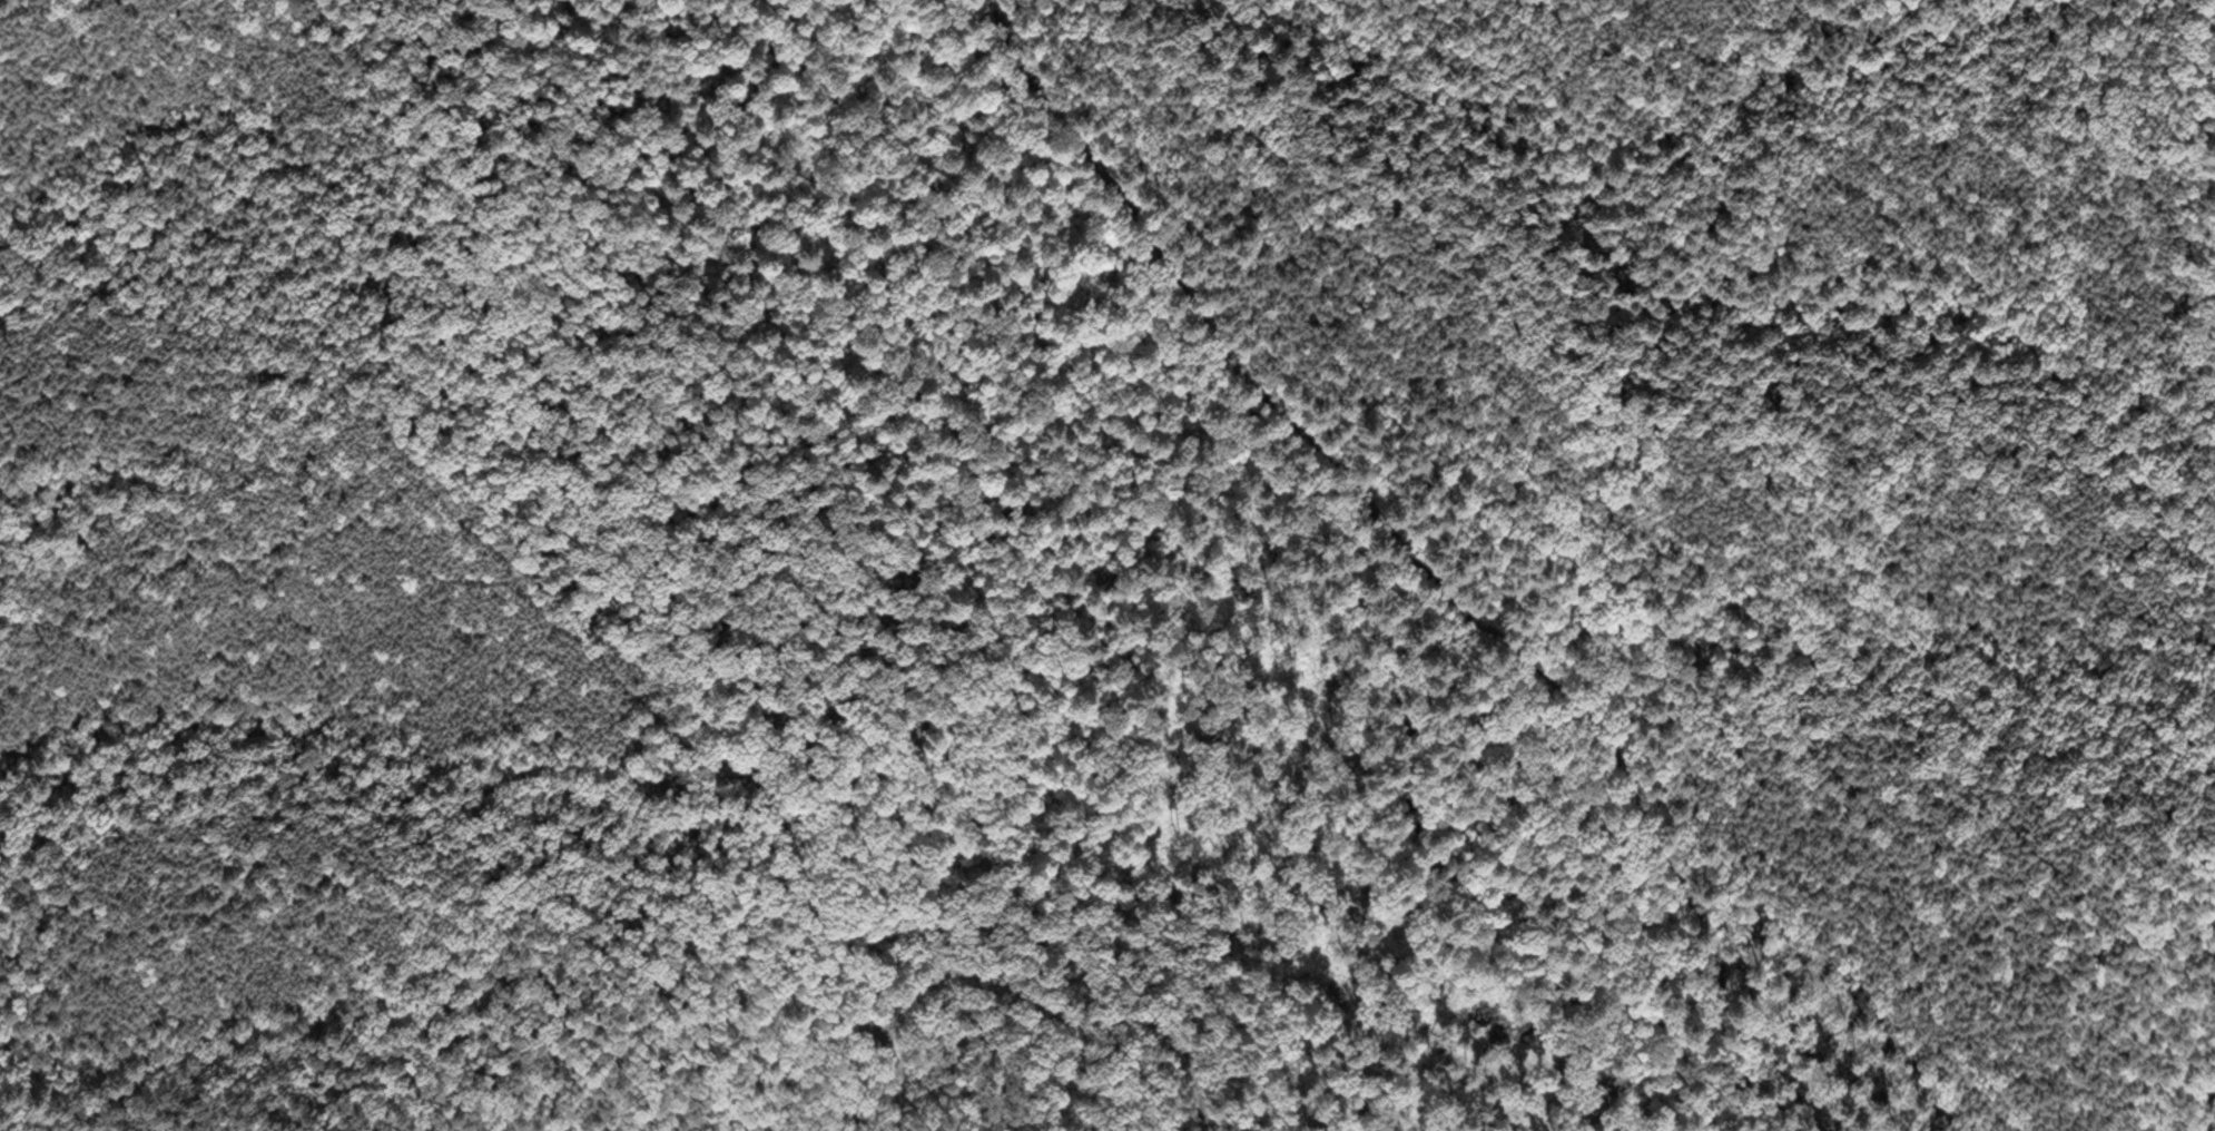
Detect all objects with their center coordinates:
road: (1435, 553)
road: (1002, 1009)

